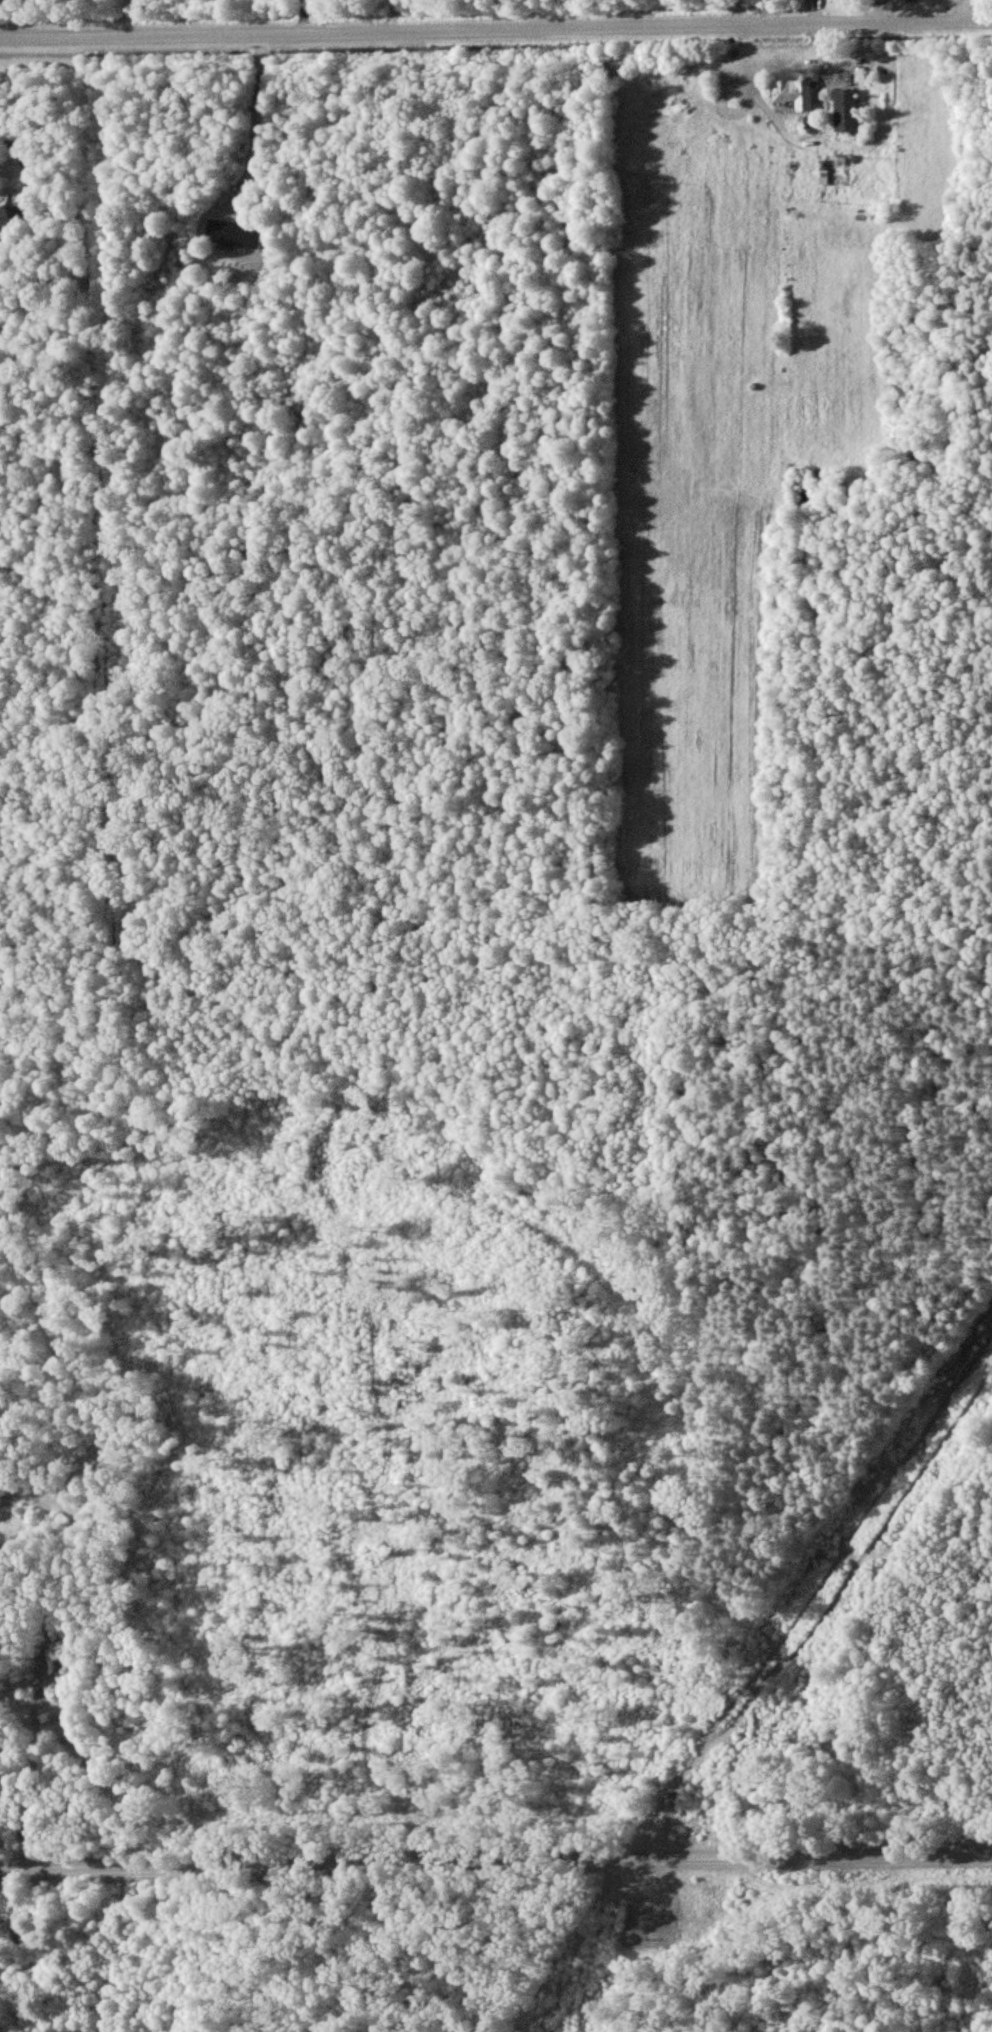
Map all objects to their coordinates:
road: (304, 20)
road: (710, 32)
road: (214, 40)
building: (792, 95)
building: (844, 111)
road: (255, 132)
road: (25, 162)
building: (4, 219)
building: (232, 235)
road: (495, 1862)
power substation: (653, 1923)

